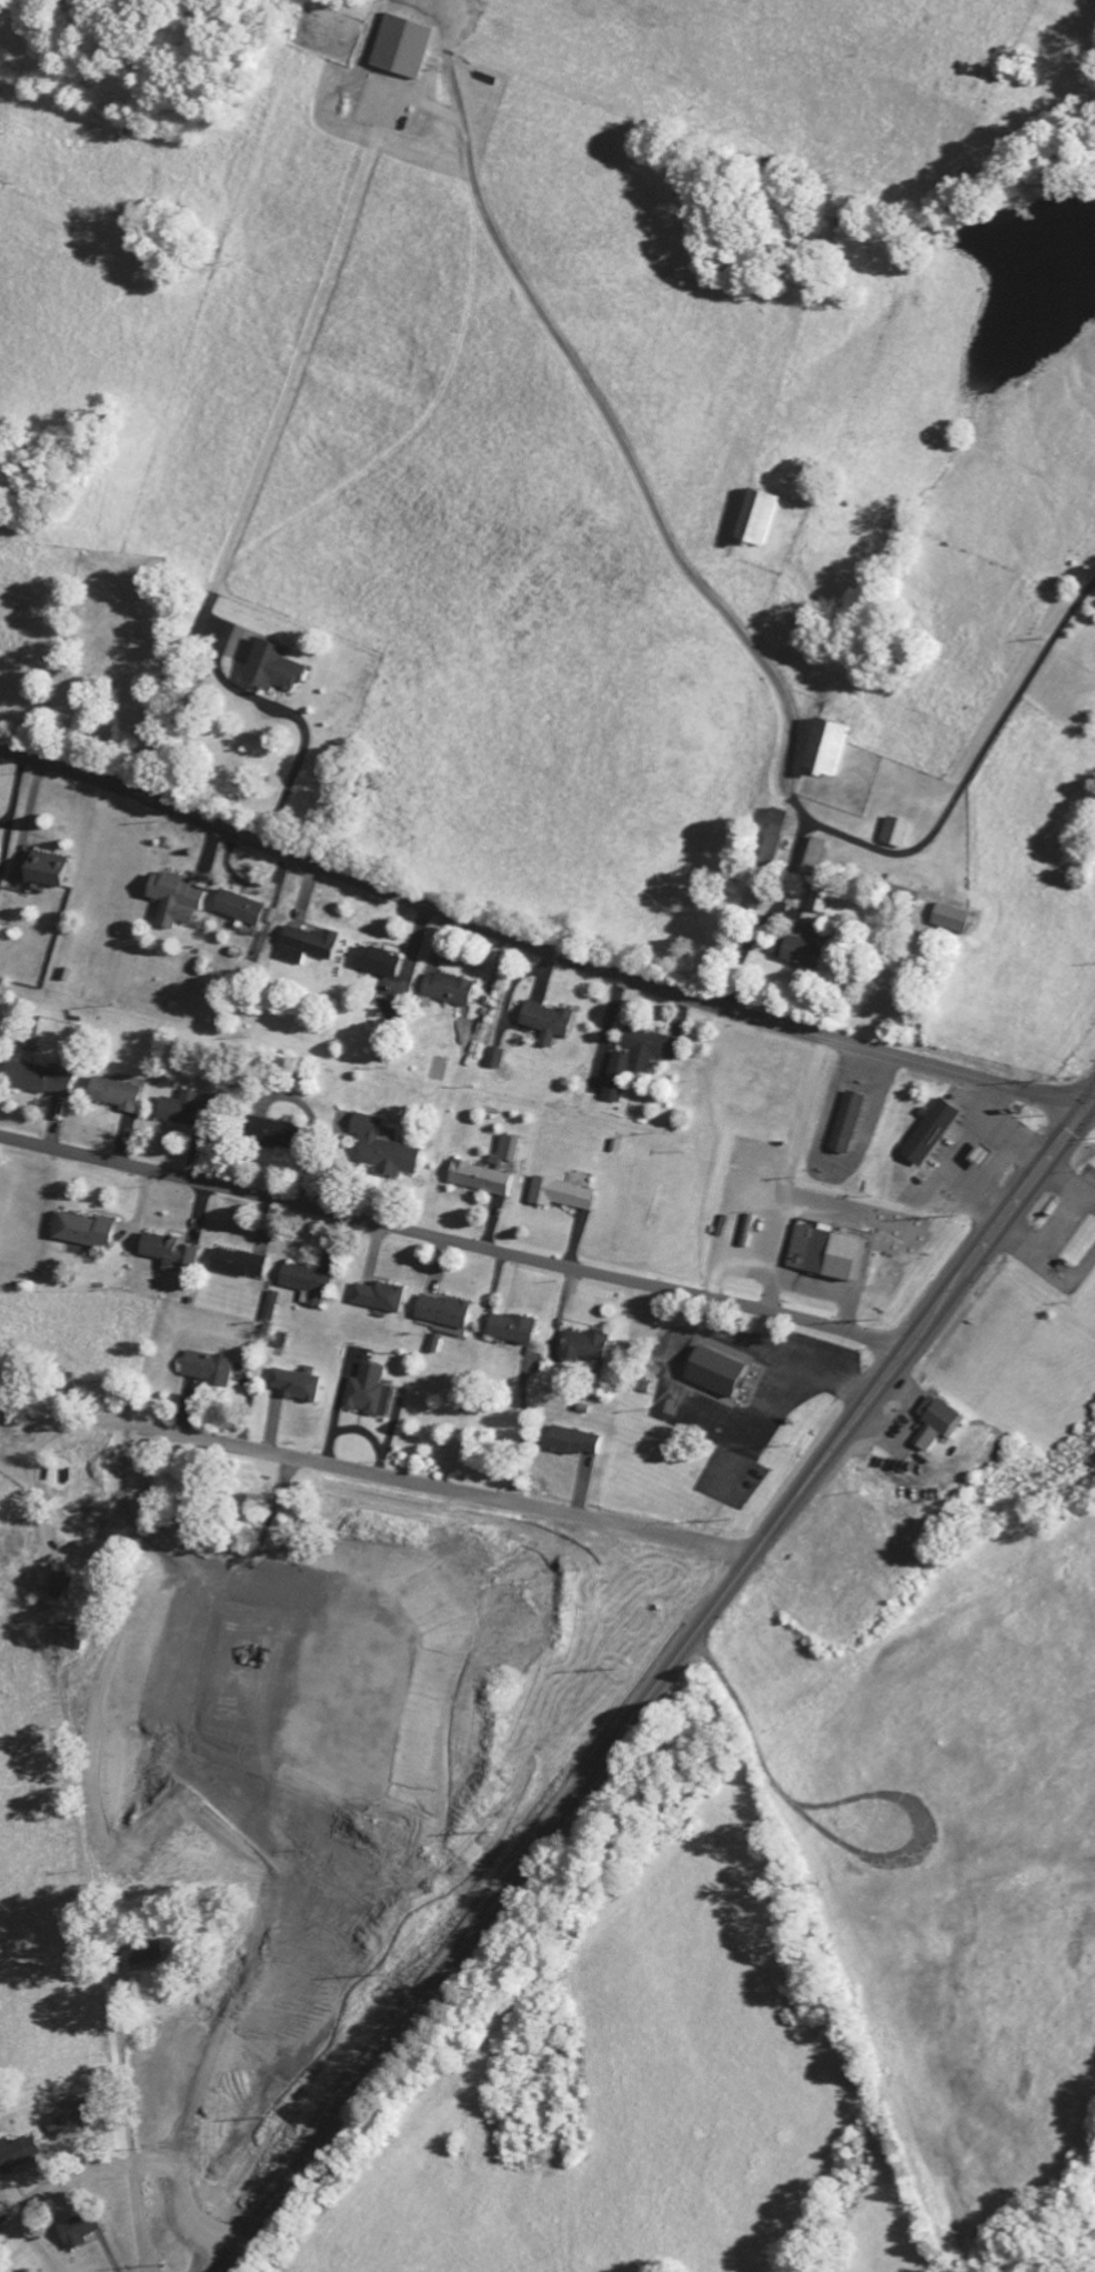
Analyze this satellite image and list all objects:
road: (593, 474)
building: (760, 520)
building: (277, 671)
building: (828, 751)
building: (780, 824)
building: (897, 834)
building: (771, 855)
building: (815, 861)
building: (46, 873)
building: (759, 897)
building: (179, 900)
building: (823, 904)
building: (242, 911)
building: (954, 921)
road: (776, 924)
building: (309, 947)
building: (807, 949)
road: (535, 950)
building: (382, 963)
building: (450, 992)
building: (550, 1024)
building: (637, 1061)
building: (43, 1082)
building: (117, 1097)
road: (1089, 1110)
building: (185, 1113)
building: (847, 1124)
building: (931, 1134)
building: (277, 1137)
building: (384, 1150)
building: (490, 1172)
building: (564, 1197)
building: (84, 1233)
road: (453, 1240)
building: (838, 1249)
building: (168, 1254)
building: (239, 1267)
building: (308, 1284)
building: (379, 1299)
building: (444, 1318)
building: (515, 1331)
building: (433, 1345)
building: (586, 1349)
building: (210, 1371)
building: (717, 1375)
building: (298, 1388)
building: (369, 1394)
building: (938, 1424)
building: (574, 1444)
road: (446, 1488)
road: (797, 1497)
building: (44, 1581)
building: (64, 1590)
building: (74, 1639)
building: (144, 1956)
road: (360, 2085)
building: (74, 2120)
building: (19, 2158)
building: (80, 2233)

